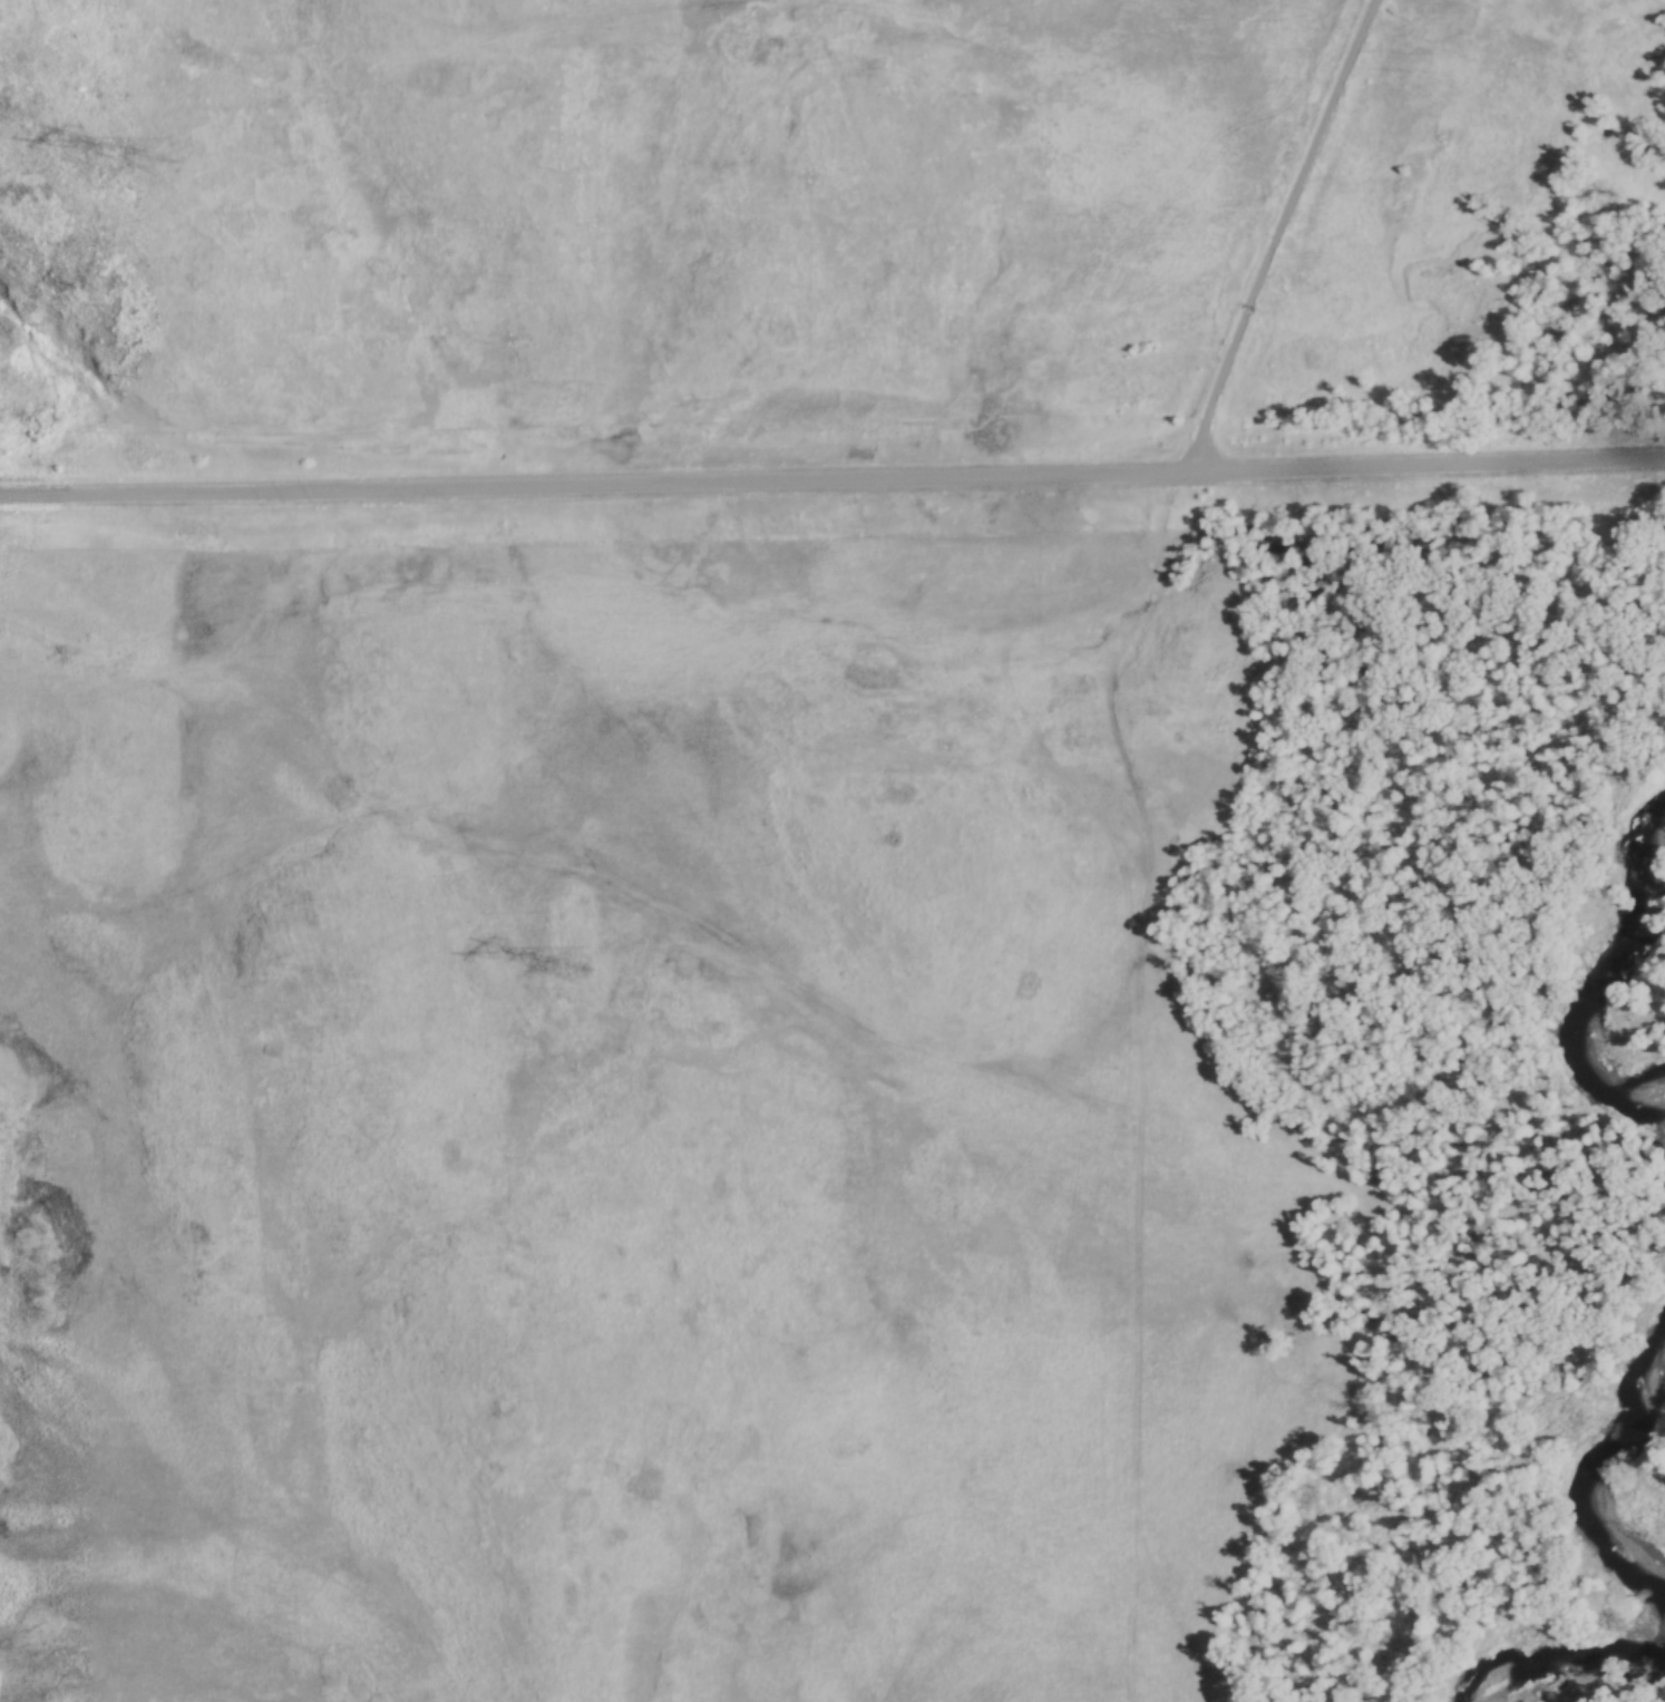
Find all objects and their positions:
power tower: (166, 157)
road: (833, 477)
power tower: (587, 971)
river: (1612, 989)
river: (1622, 1414)
river: (1598, 1686)

